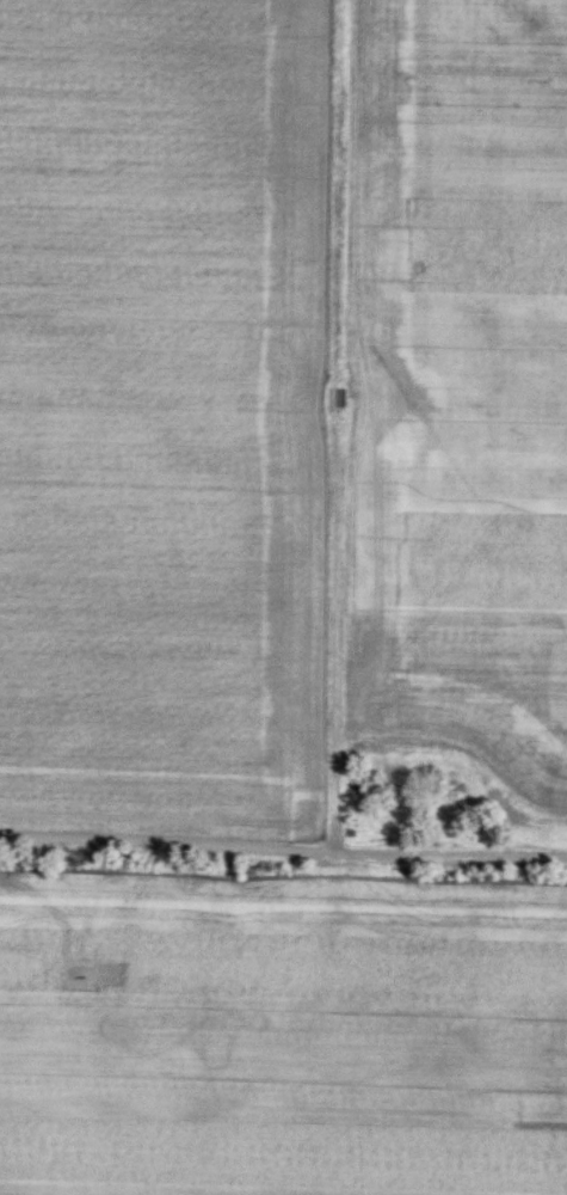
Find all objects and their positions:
road: (283, 850)

